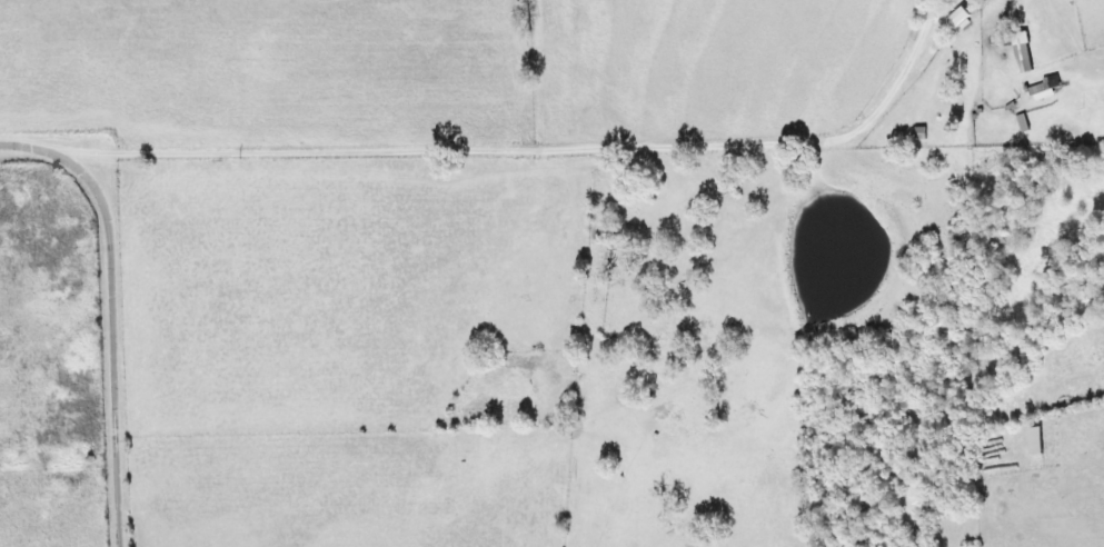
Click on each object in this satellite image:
building: (1020, 50)
building: (1041, 89)
road: (585, 229)
road: (118, 308)
building: (1033, 439)

